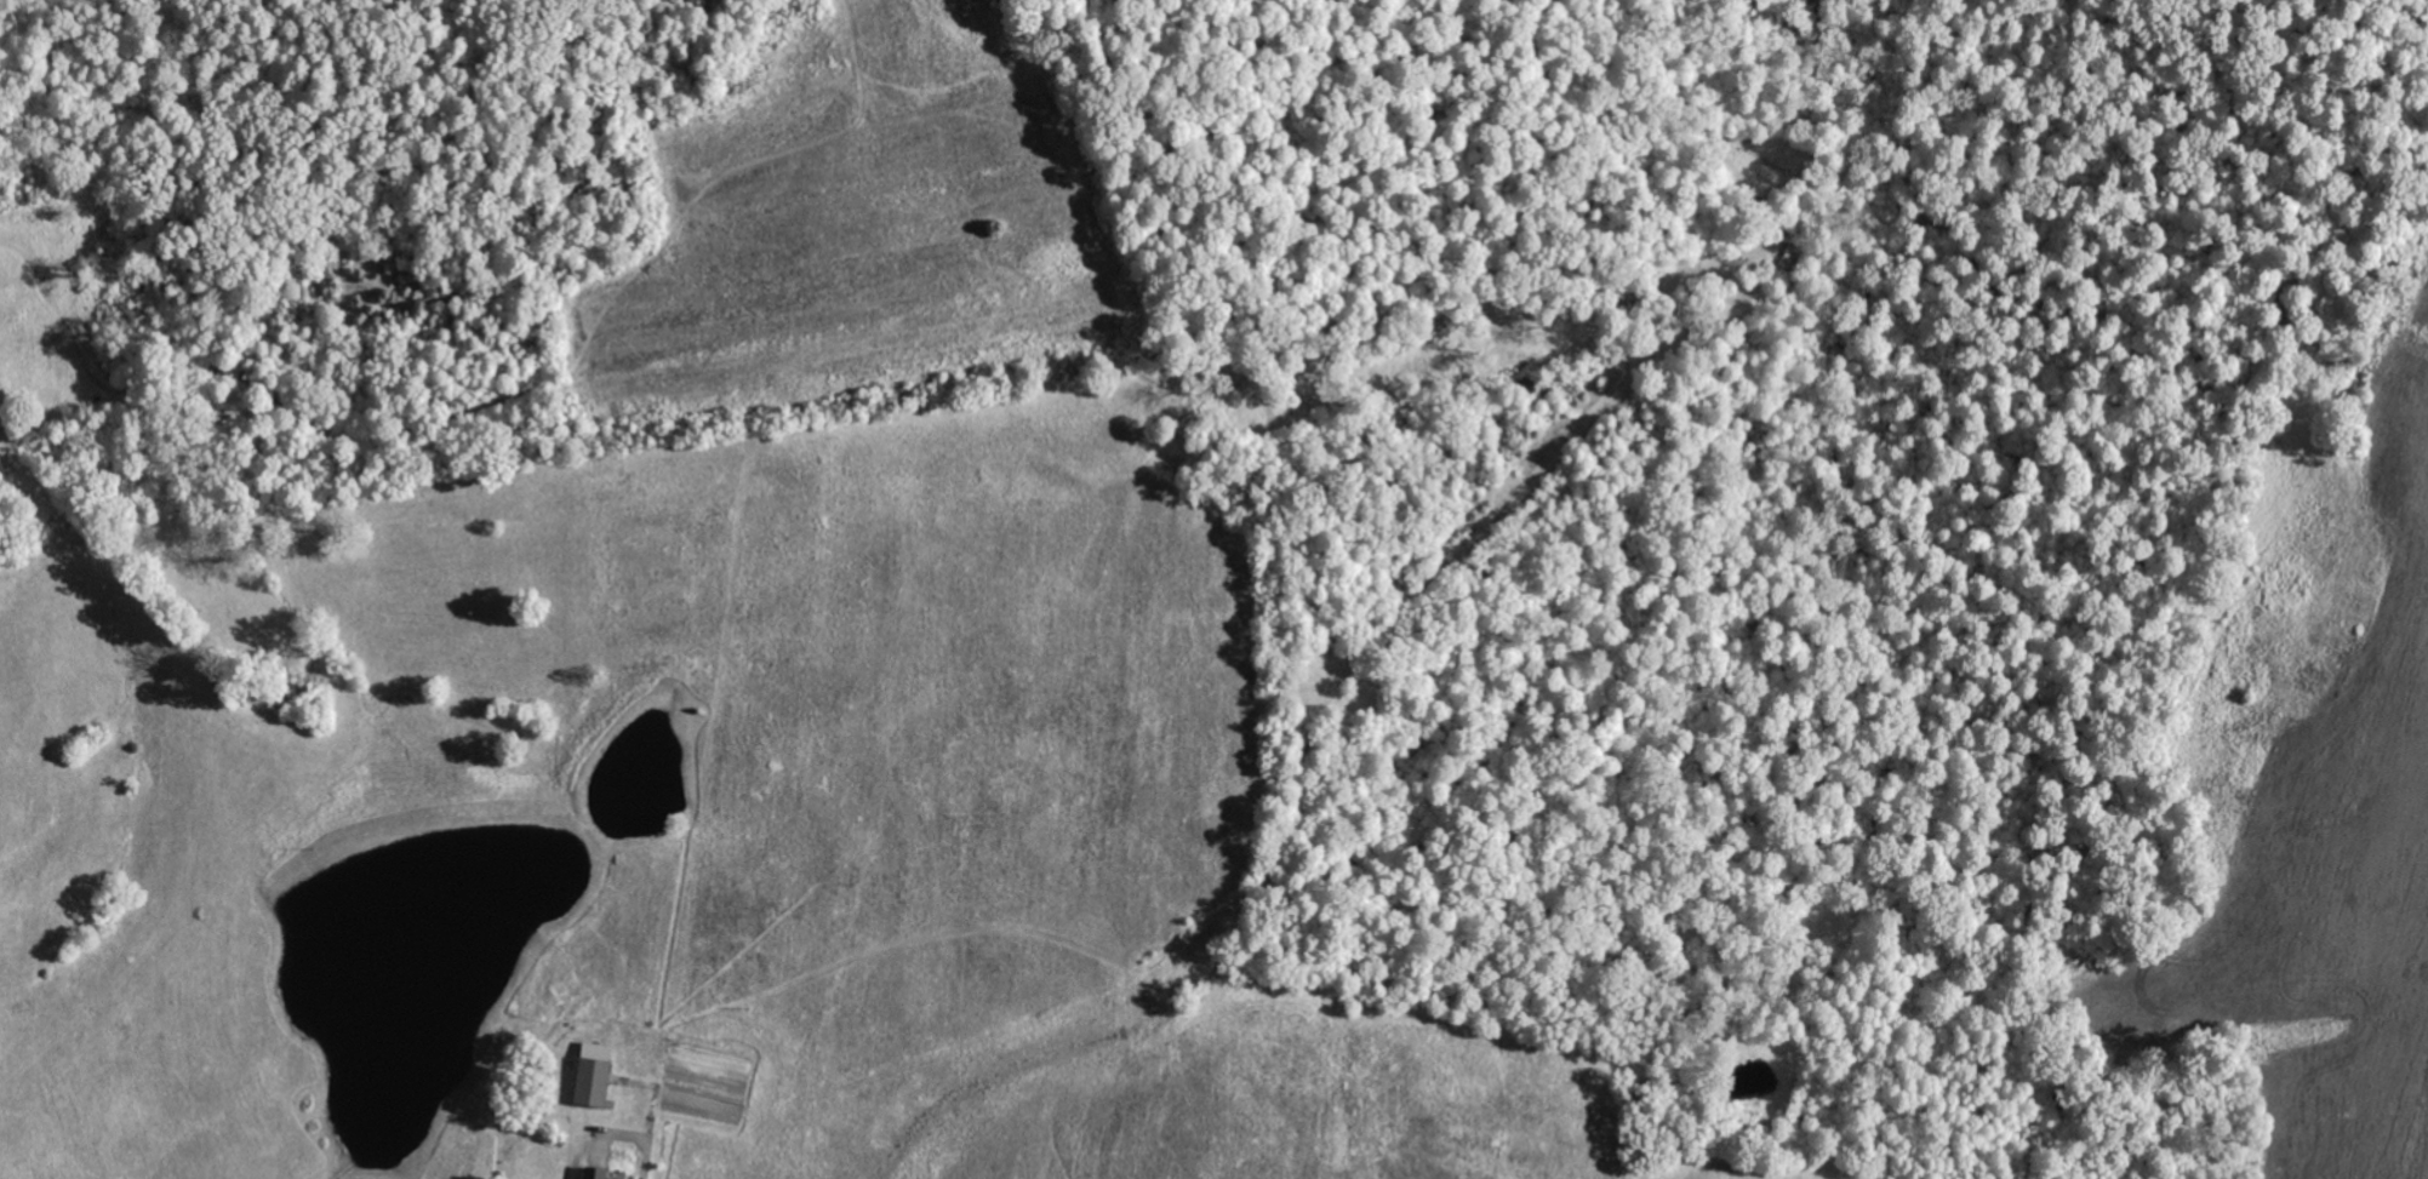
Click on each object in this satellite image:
building: (595, 1075)
building: (599, 1173)

